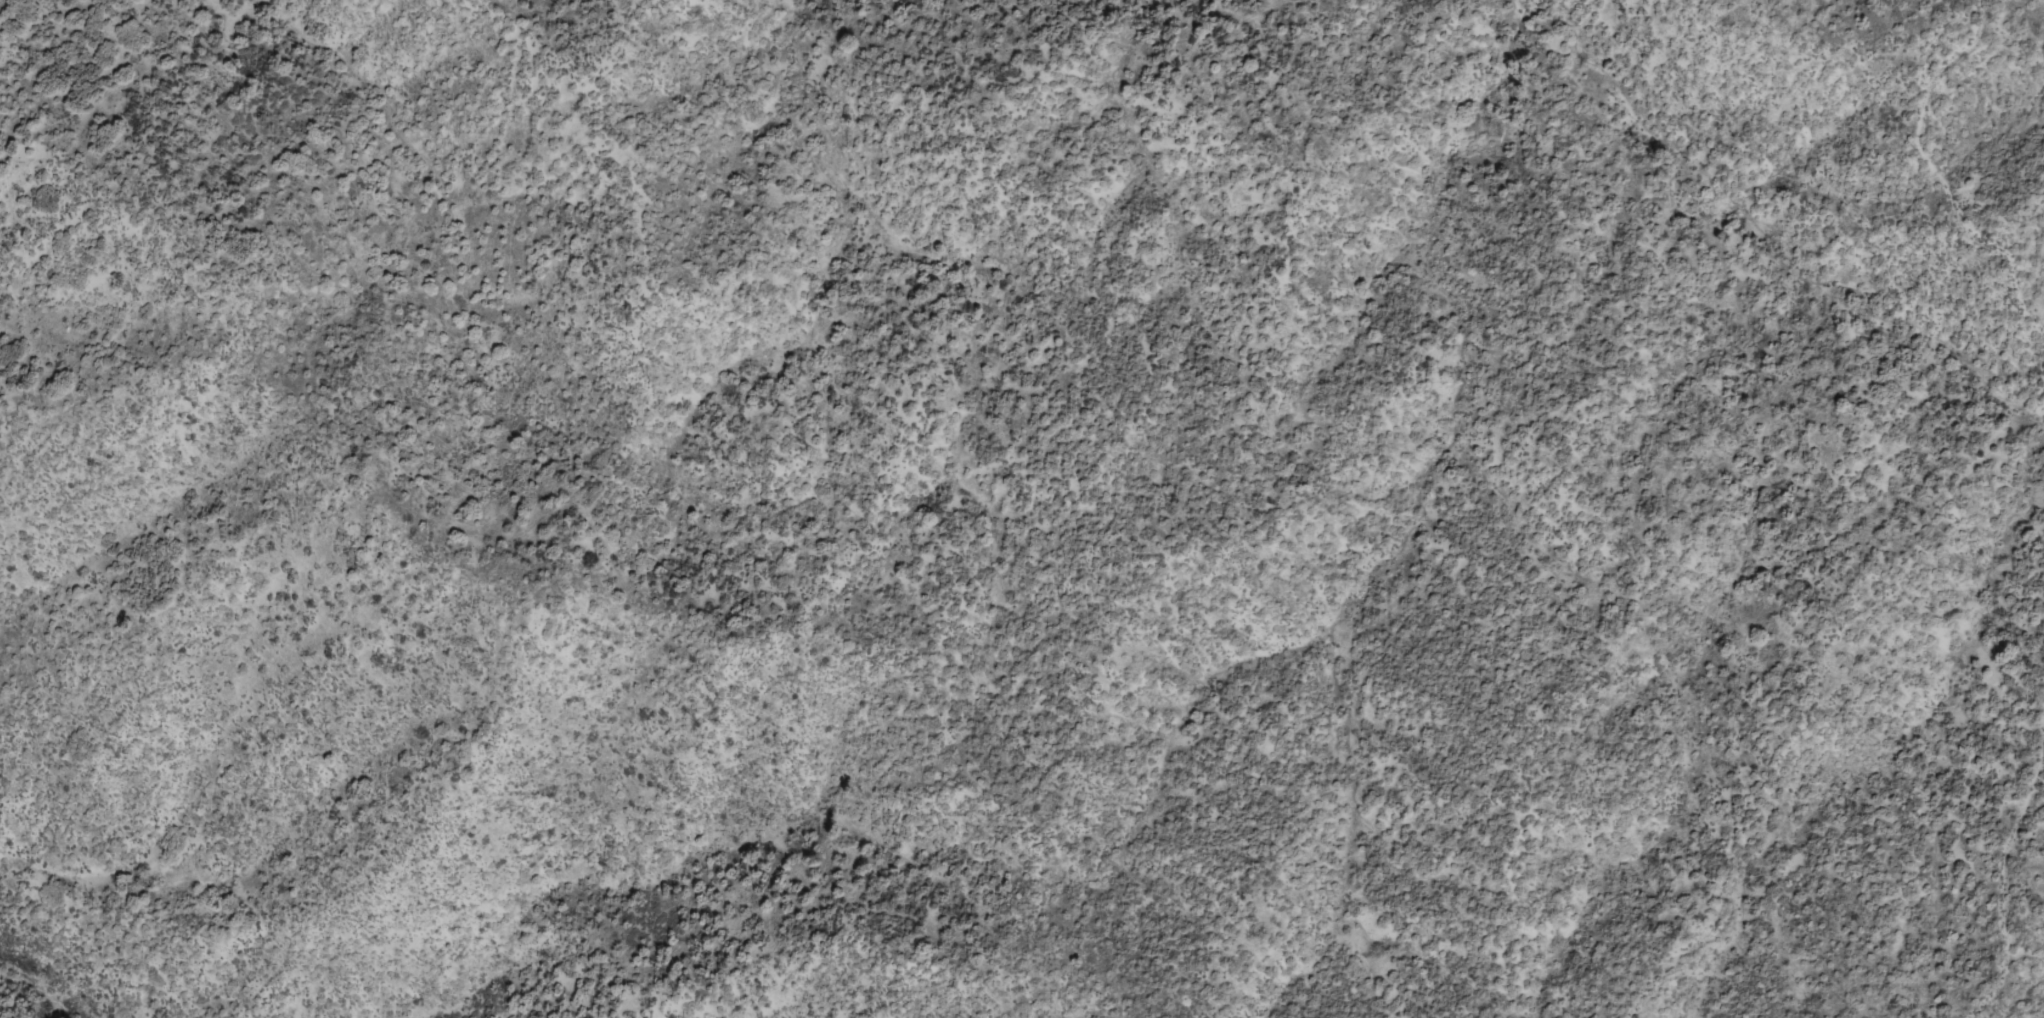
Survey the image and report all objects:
road: (1981, 956)

